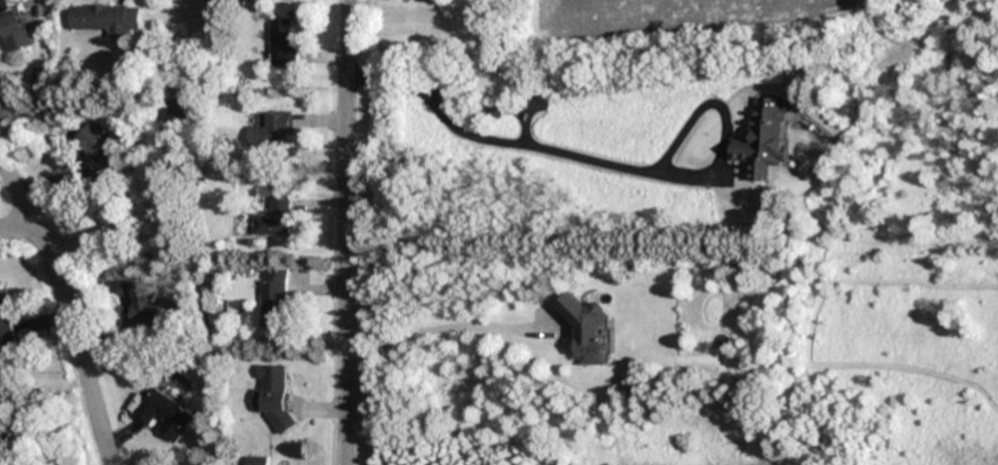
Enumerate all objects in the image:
building: (107, 19)
building: (14, 31)
building: (283, 45)
building: (175, 115)
building: (273, 132)
building: (766, 139)
building: (104, 157)
road: (606, 161)
building: (276, 219)
road: (18, 229)
road: (346, 232)
building: (275, 298)
building: (147, 307)
road: (68, 308)
building: (6, 321)
building: (586, 330)
building: (275, 396)
building: (164, 415)
building: (257, 461)

